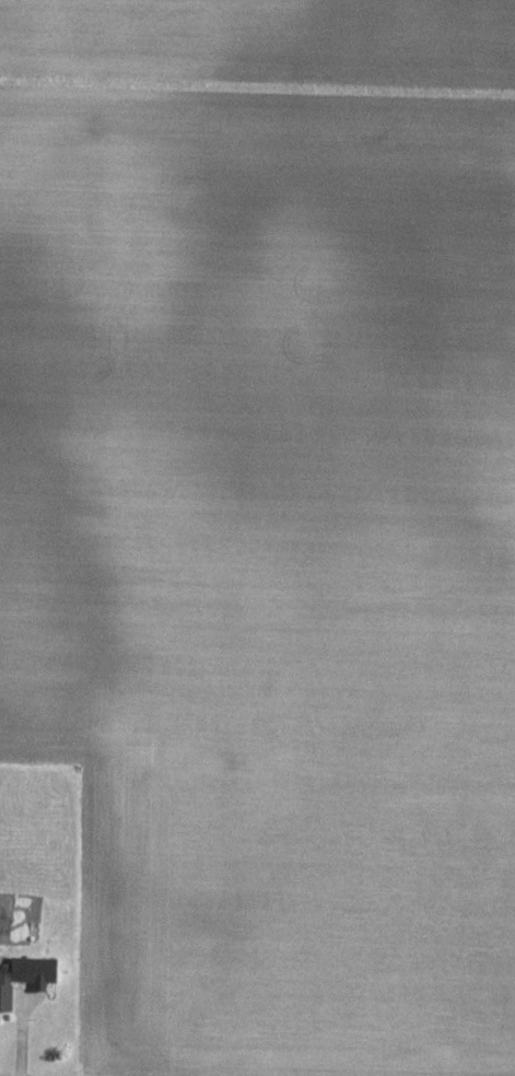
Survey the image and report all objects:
building: (28, 972)
building: (4, 998)

